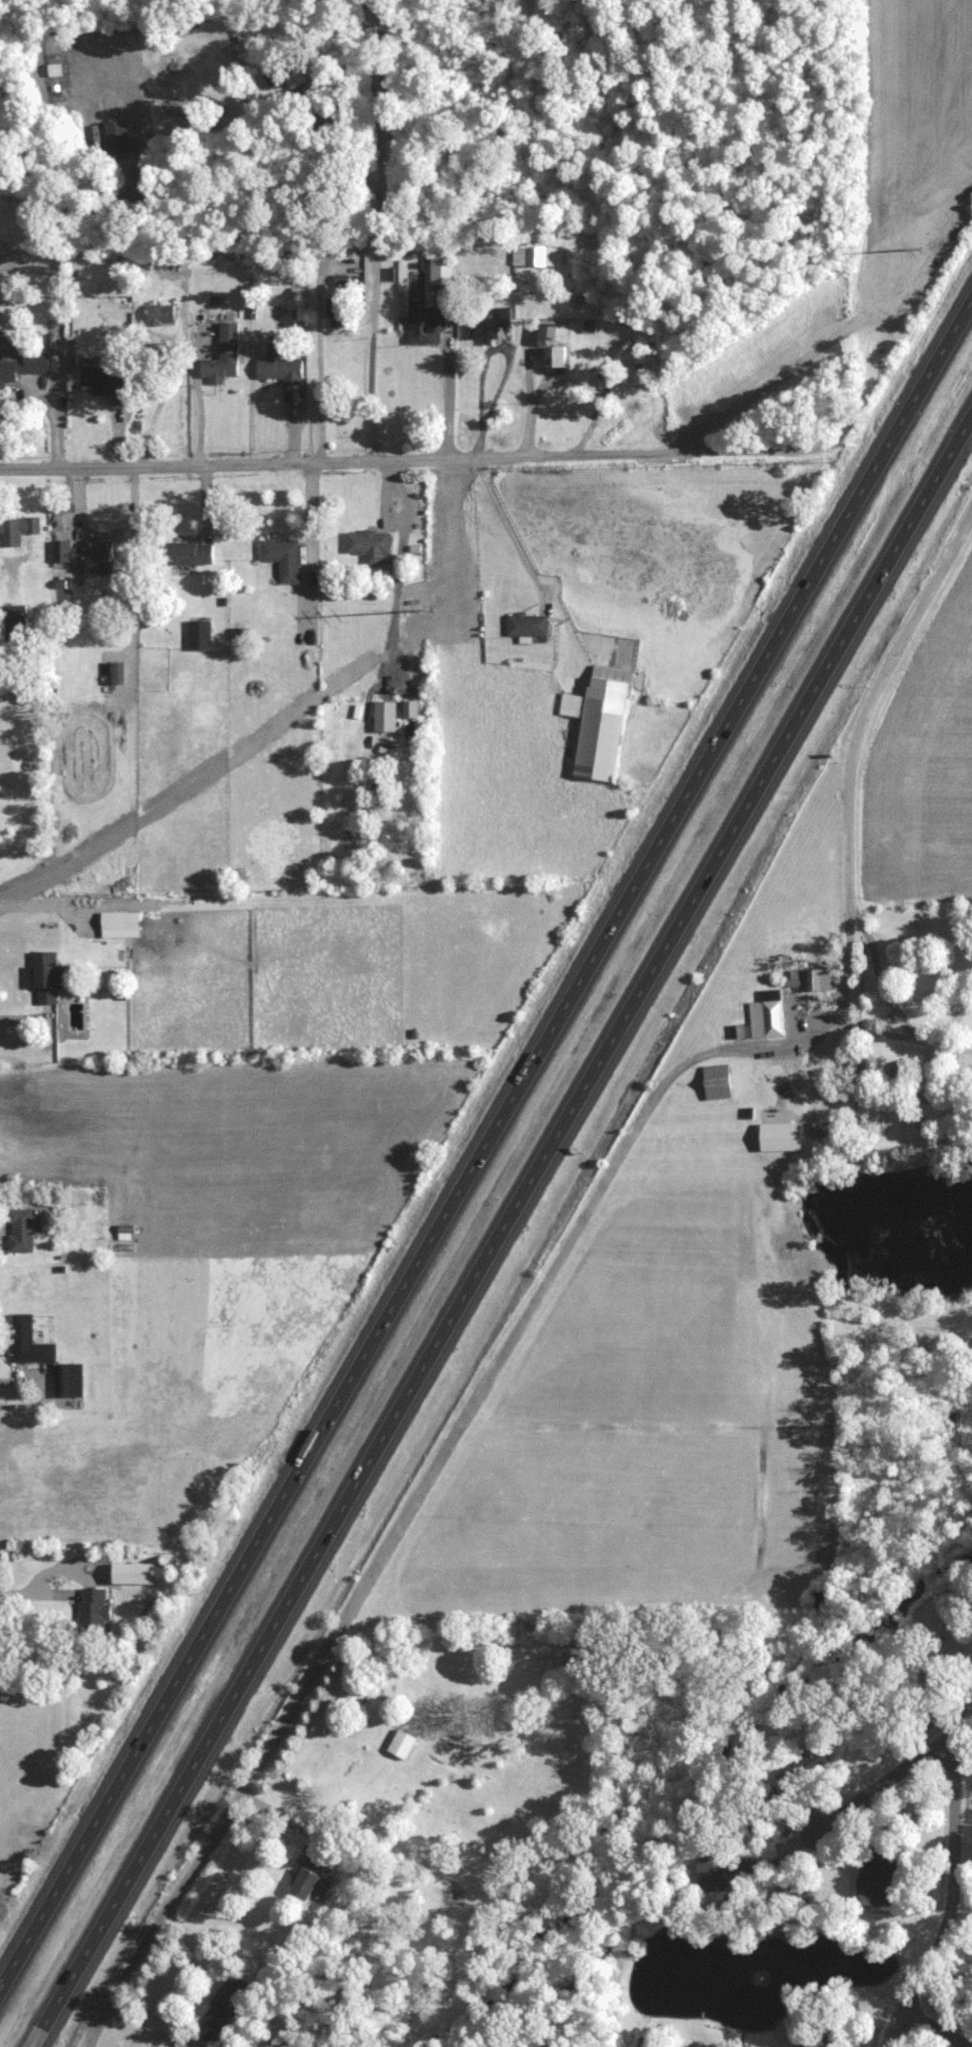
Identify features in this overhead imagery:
building: (284, 75)
building: (118, 132)
power tower: (960, 215)
building: (537, 255)
building: (443, 266)
building: (337, 311)
road: (55, 313)
building: (158, 314)
building: (489, 321)
building: (427, 326)
building: (538, 333)
road: (491, 349)
building: (223, 355)
building: (556, 358)
building: (26, 365)
building: (281, 367)
building: (106, 379)
road: (197, 404)
road: (404, 461)
road: (507, 525)
building: (18, 529)
building: (369, 545)
building: (85, 553)
building: (188, 553)
road: (950, 555)
building: (283, 558)
power tower: (432, 610)
building: (15, 624)
building: (527, 624)
building: (200, 635)
building: (115, 673)
road: (877, 690)
building: (410, 709)
building: (385, 716)
building: (600, 721)
road: (850, 914)
building: (115, 920)
building: (45, 977)
building: (810, 980)
road: (913, 1011)
building: (768, 1013)
road: (911, 1045)
building: (717, 1082)
road: (954, 1096)
building: (781, 1137)
road: (489, 1146)
building: (22, 1230)
road: (502, 1233)
building: (28, 1342)
building: (866, 1347)
road: (426, 1478)
building: (133, 1573)
road: (34, 1593)
building: (92, 1611)
building: (958, 1650)
road: (964, 1728)
building: (402, 1744)
road: (901, 1772)
building: (727, 1871)
building: (312, 1878)
building: (882, 1881)
road: (953, 1899)
building: (228, 2005)
road: (933, 2029)
building: (829, 2034)

